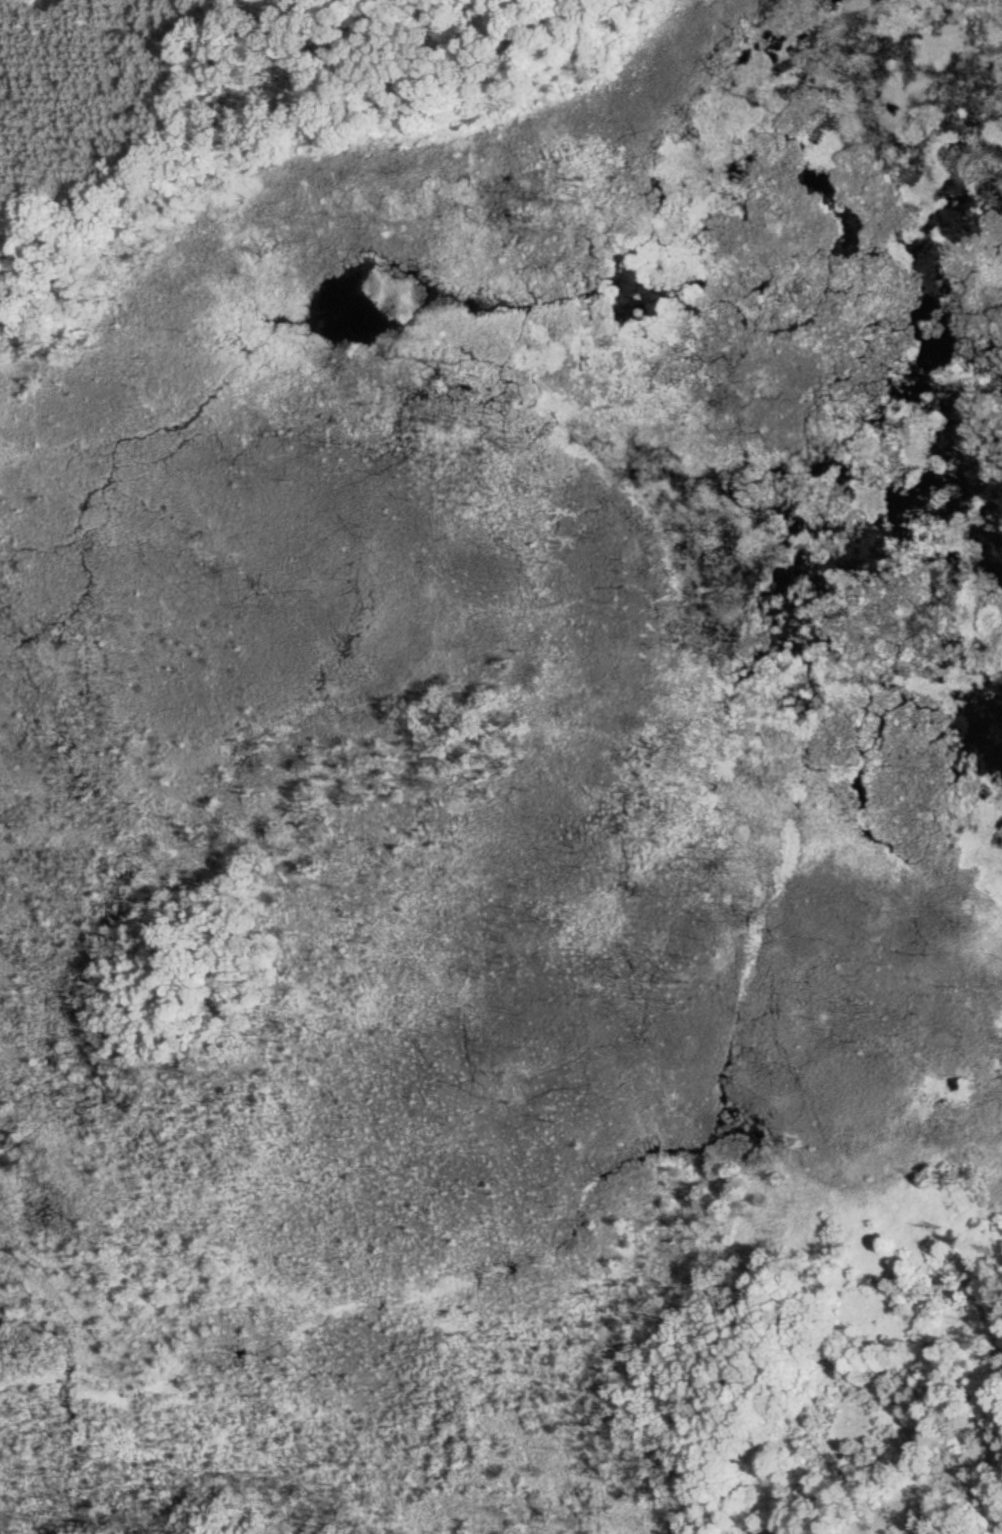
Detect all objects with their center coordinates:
road: (929, 1383)

